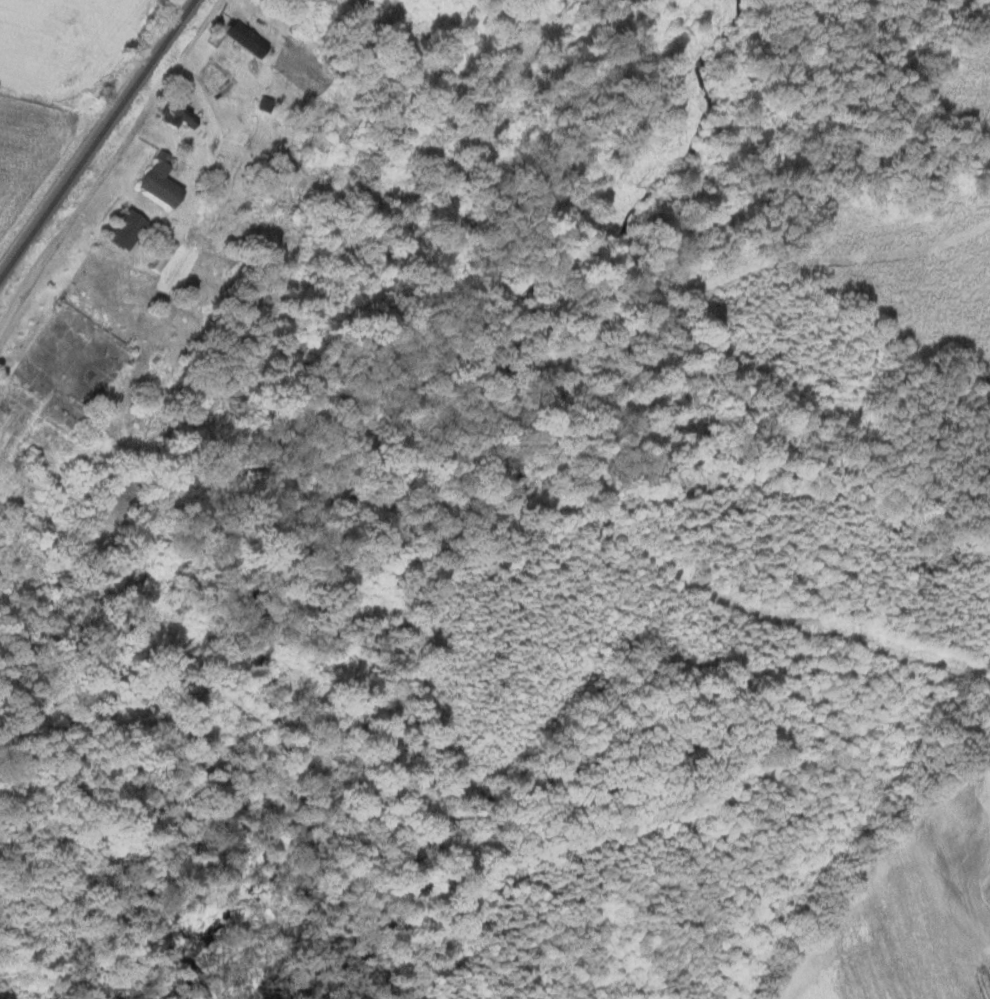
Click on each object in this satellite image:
building: (242, 36)
building: (176, 116)
railway: (96, 139)
building: (156, 183)
road: (77, 218)
building: (123, 228)

